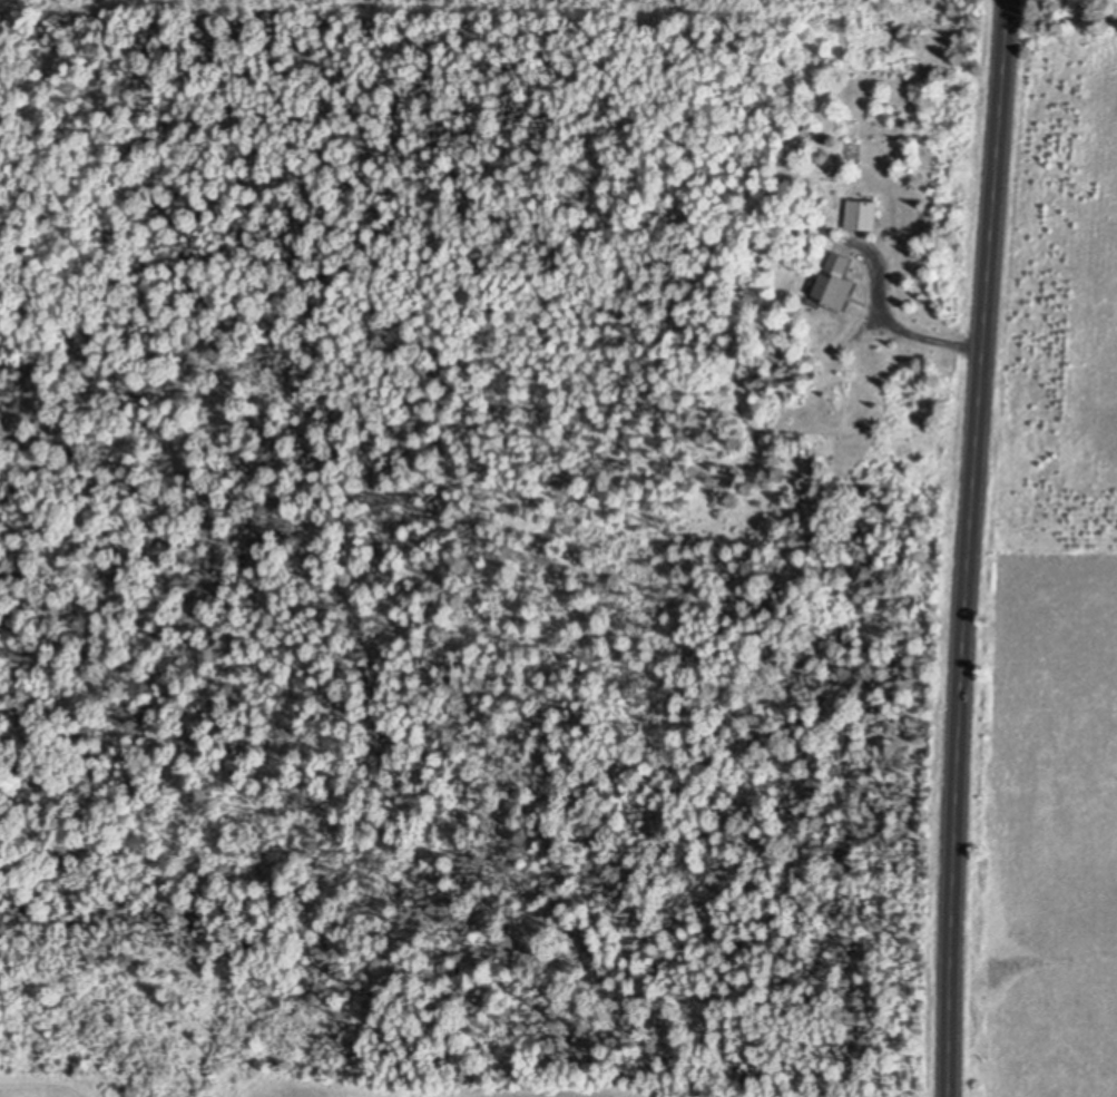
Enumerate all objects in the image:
building: (861, 213)
building: (834, 278)
road: (902, 331)
road: (968, 548)

